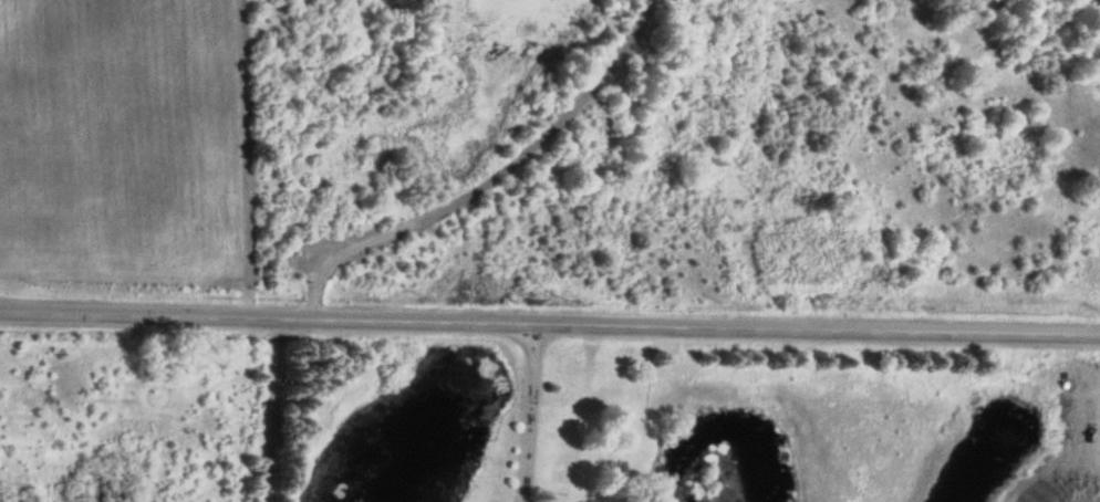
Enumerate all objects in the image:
road: (489, 180)
road: (549, 322)

